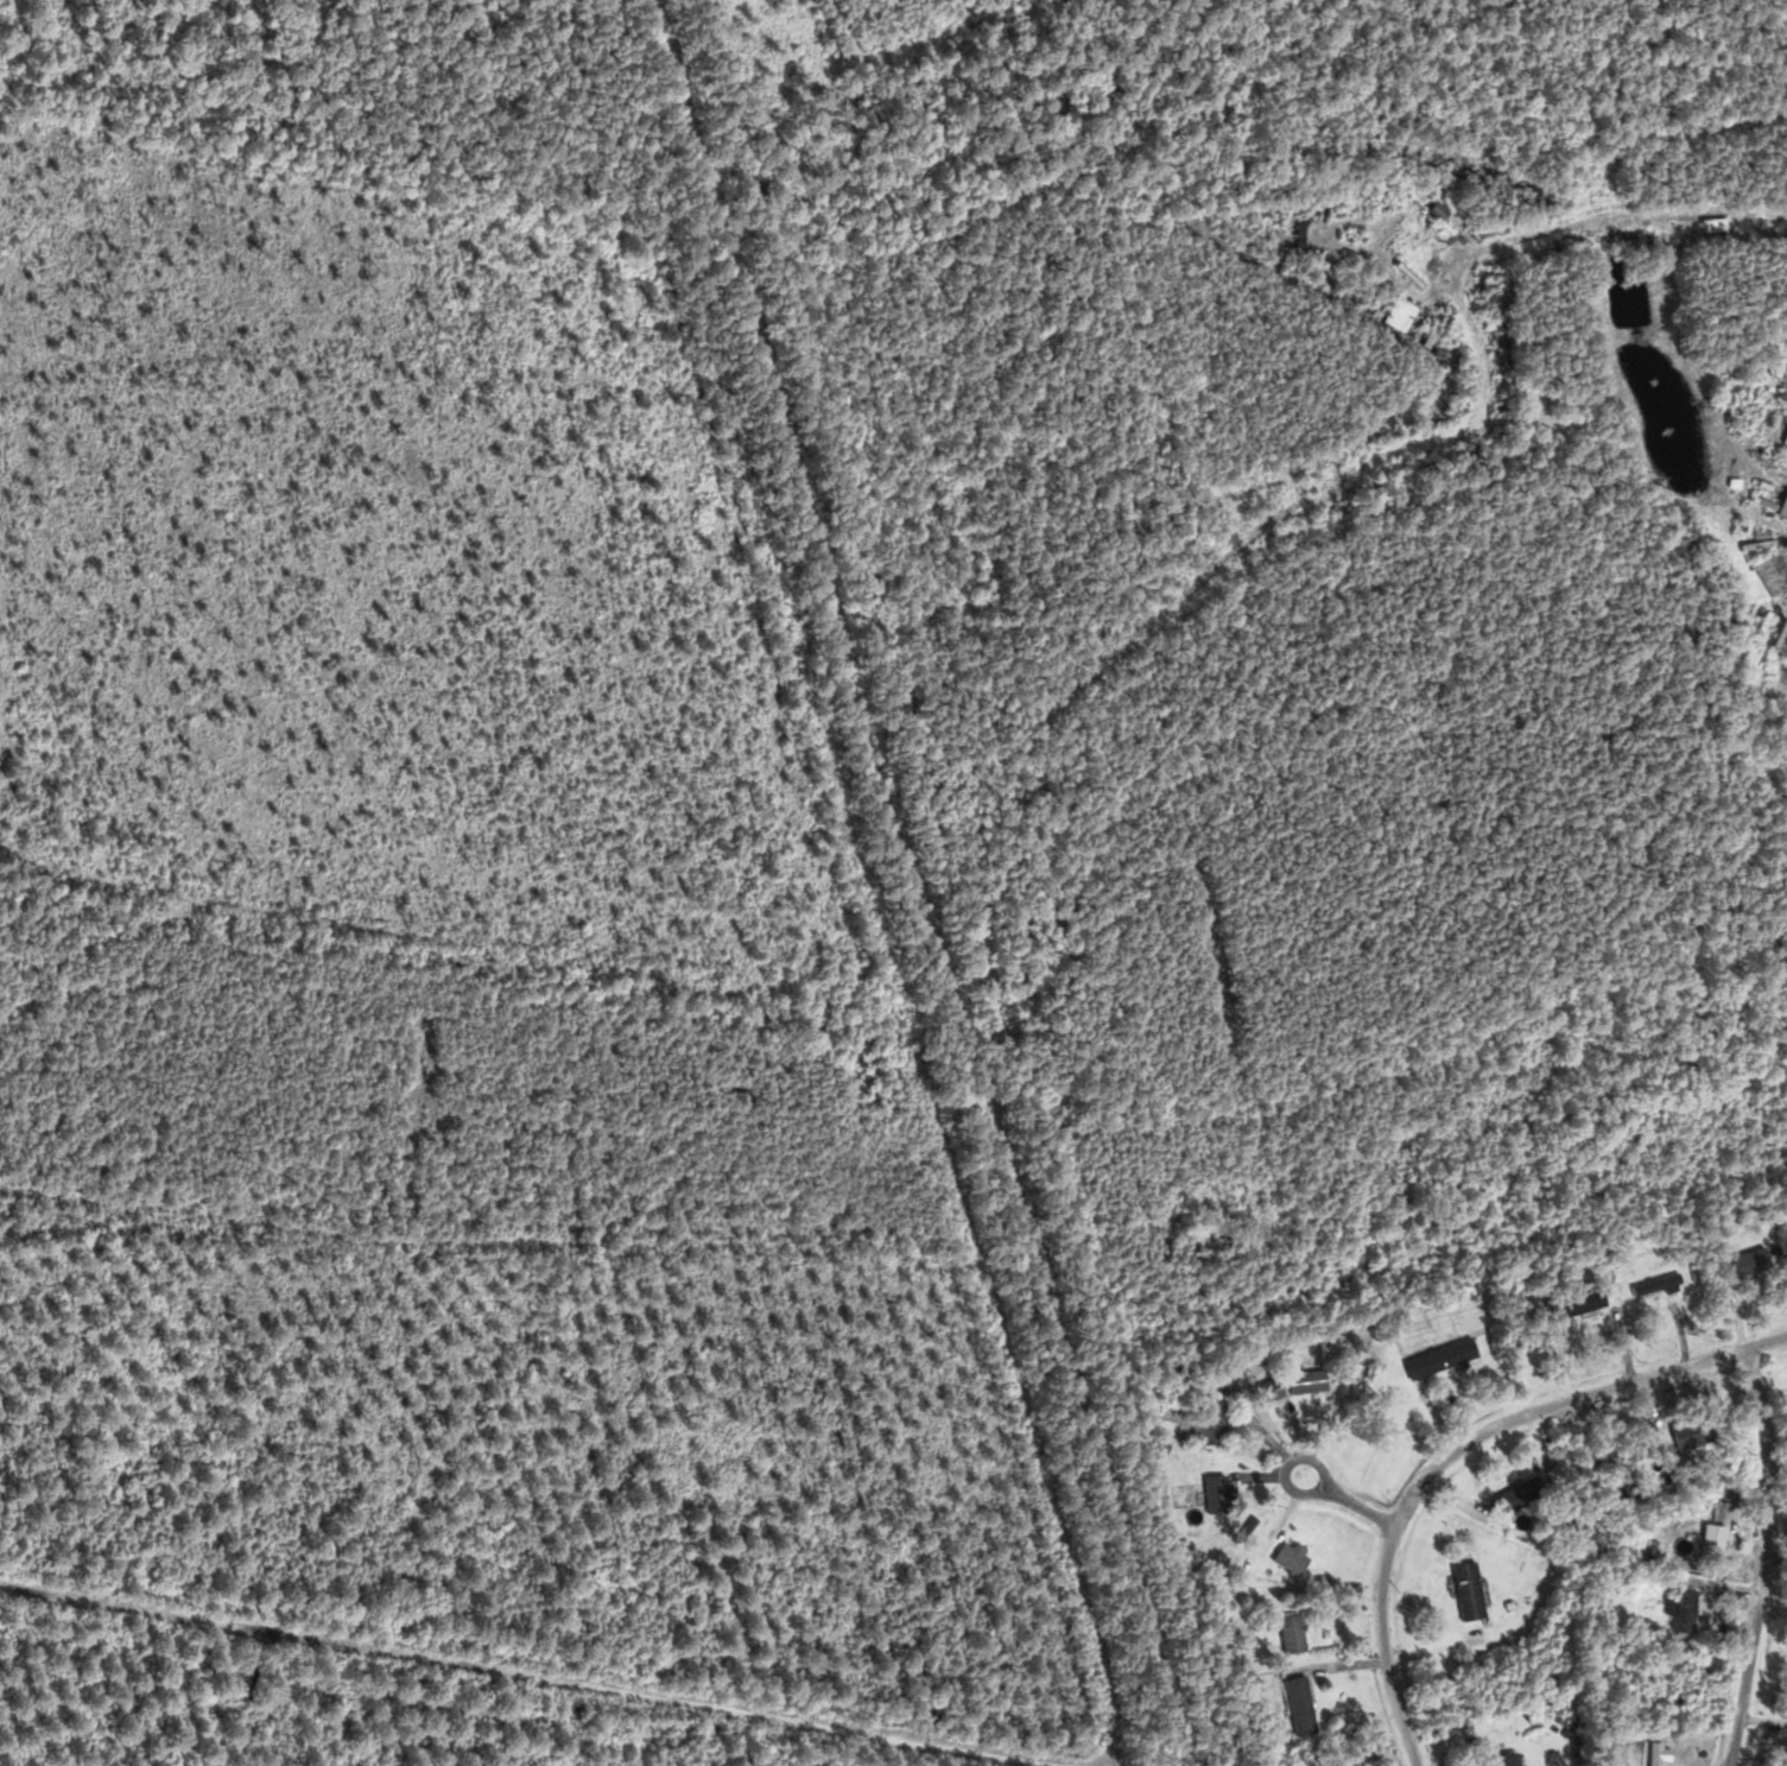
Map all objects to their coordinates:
building: (1409, 314)
building: (1763, 574)
building: (1743, 1260)
building: (1650, 1285)
building: (1570, 1302)
building: (1434, 1356)
building: (1292, 1381)
building: (1208, 1423)
building: (1685, 1433)
road: (1459, 1448)
building: (1209, 1490)
road: (1350, 1499)
building: (1705, 1537)
building: (1286, 1556)
road: (1767, 1556)
building: (1460, 1589)
building: (1677, 1609)
building: (1286, 1632)
road: (470, 1665)
building: (1668, 1698)
building: (1293, 1704)
building: (1501, 1758)

